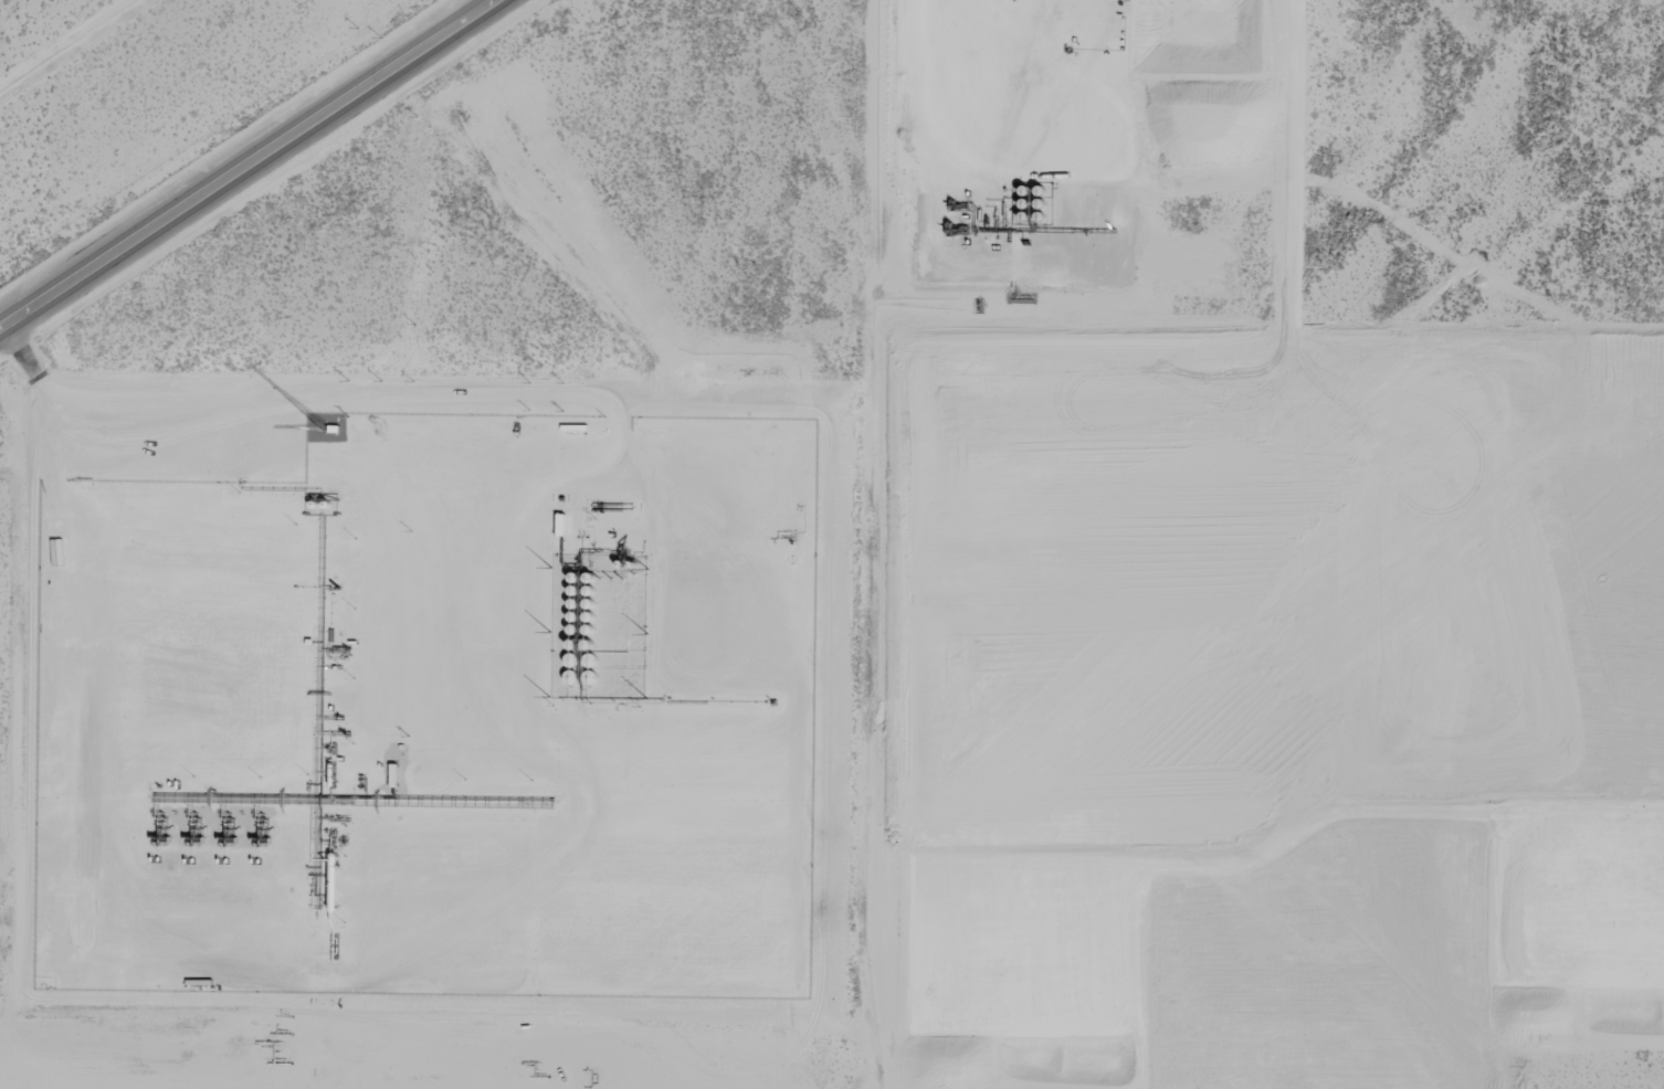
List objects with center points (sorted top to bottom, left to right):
road: (946, 59)
road: (249, 163)

